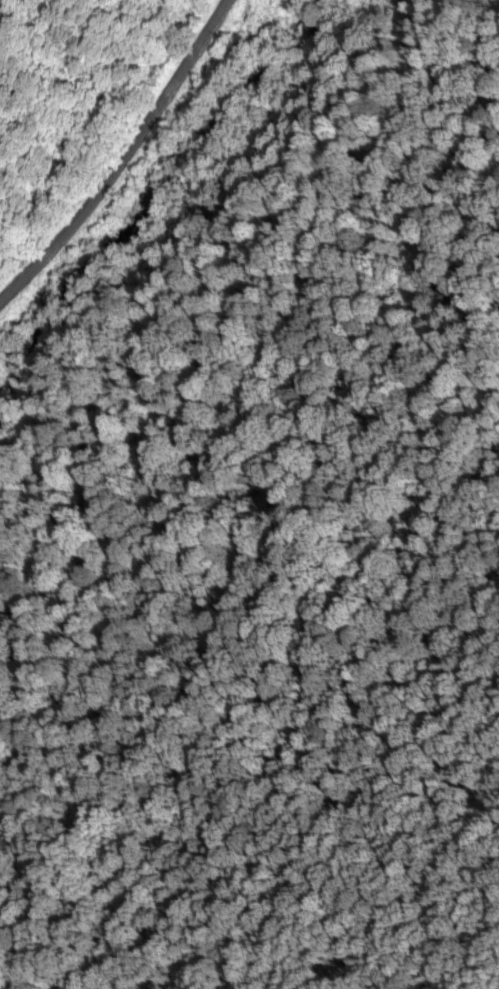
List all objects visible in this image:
road: (122, 158)

